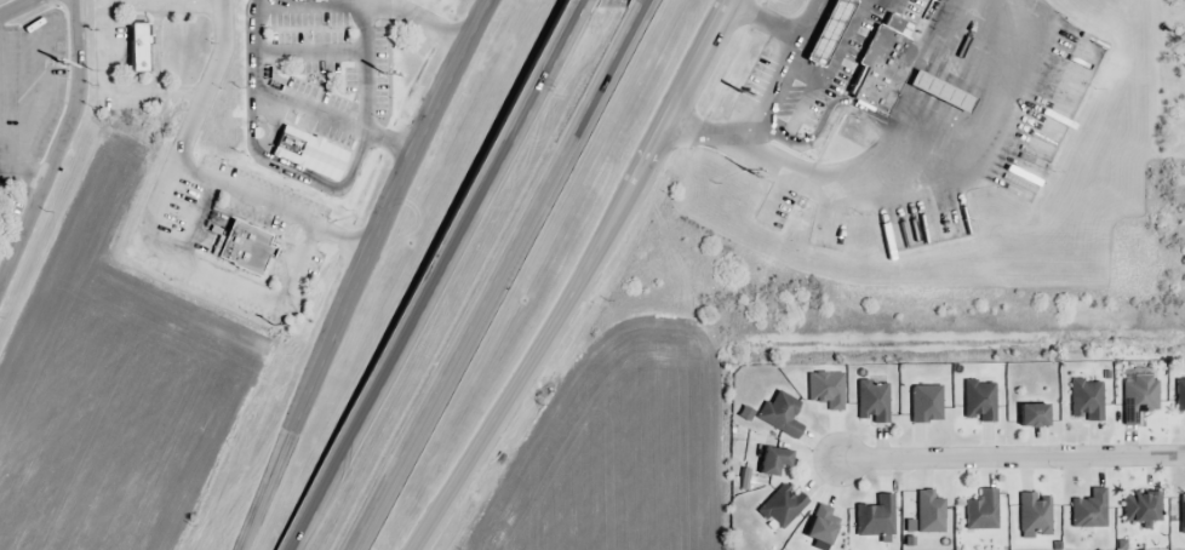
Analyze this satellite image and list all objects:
road: (578, 5)
road: (635, 5)
road: (13, 6)
road: (419, 21)
building: (829, 31)
gas station: (829, 31)
road: (103, 36)
building: (142, 48)
building: (888, 50)
road: (365, 64)
building: (876, 91)
building: (940, 91)
gas station: (940, 91)
road: (294, 105)
road: (57, 144)
building: (311, 151)
road: (196, 172)
road: (636, 179)
road: (401, 197)
building: (247, 248)
road: (210, 269)
road: (433, 280)
road: (491, 280)
building: (825, 393)
building: (1183, 397)
building: (1086, 400)
building: (977, 401)
building: (872, 402)
building: (1138, 402)
building: (926, 406)
building: (1036, 414)
building: (782, 417)
road: (476, 453)
road: (1013, 456)
building: (773, 462)
road: (276, 472)
building: (783, 509)
building: (1140, 509)
building: (981, 512)
building: (1087, 512)
building: (1034, 516)
building: (929, 517)
building: (1181, 519)
building: (874, 521)
building: (828, 527)

